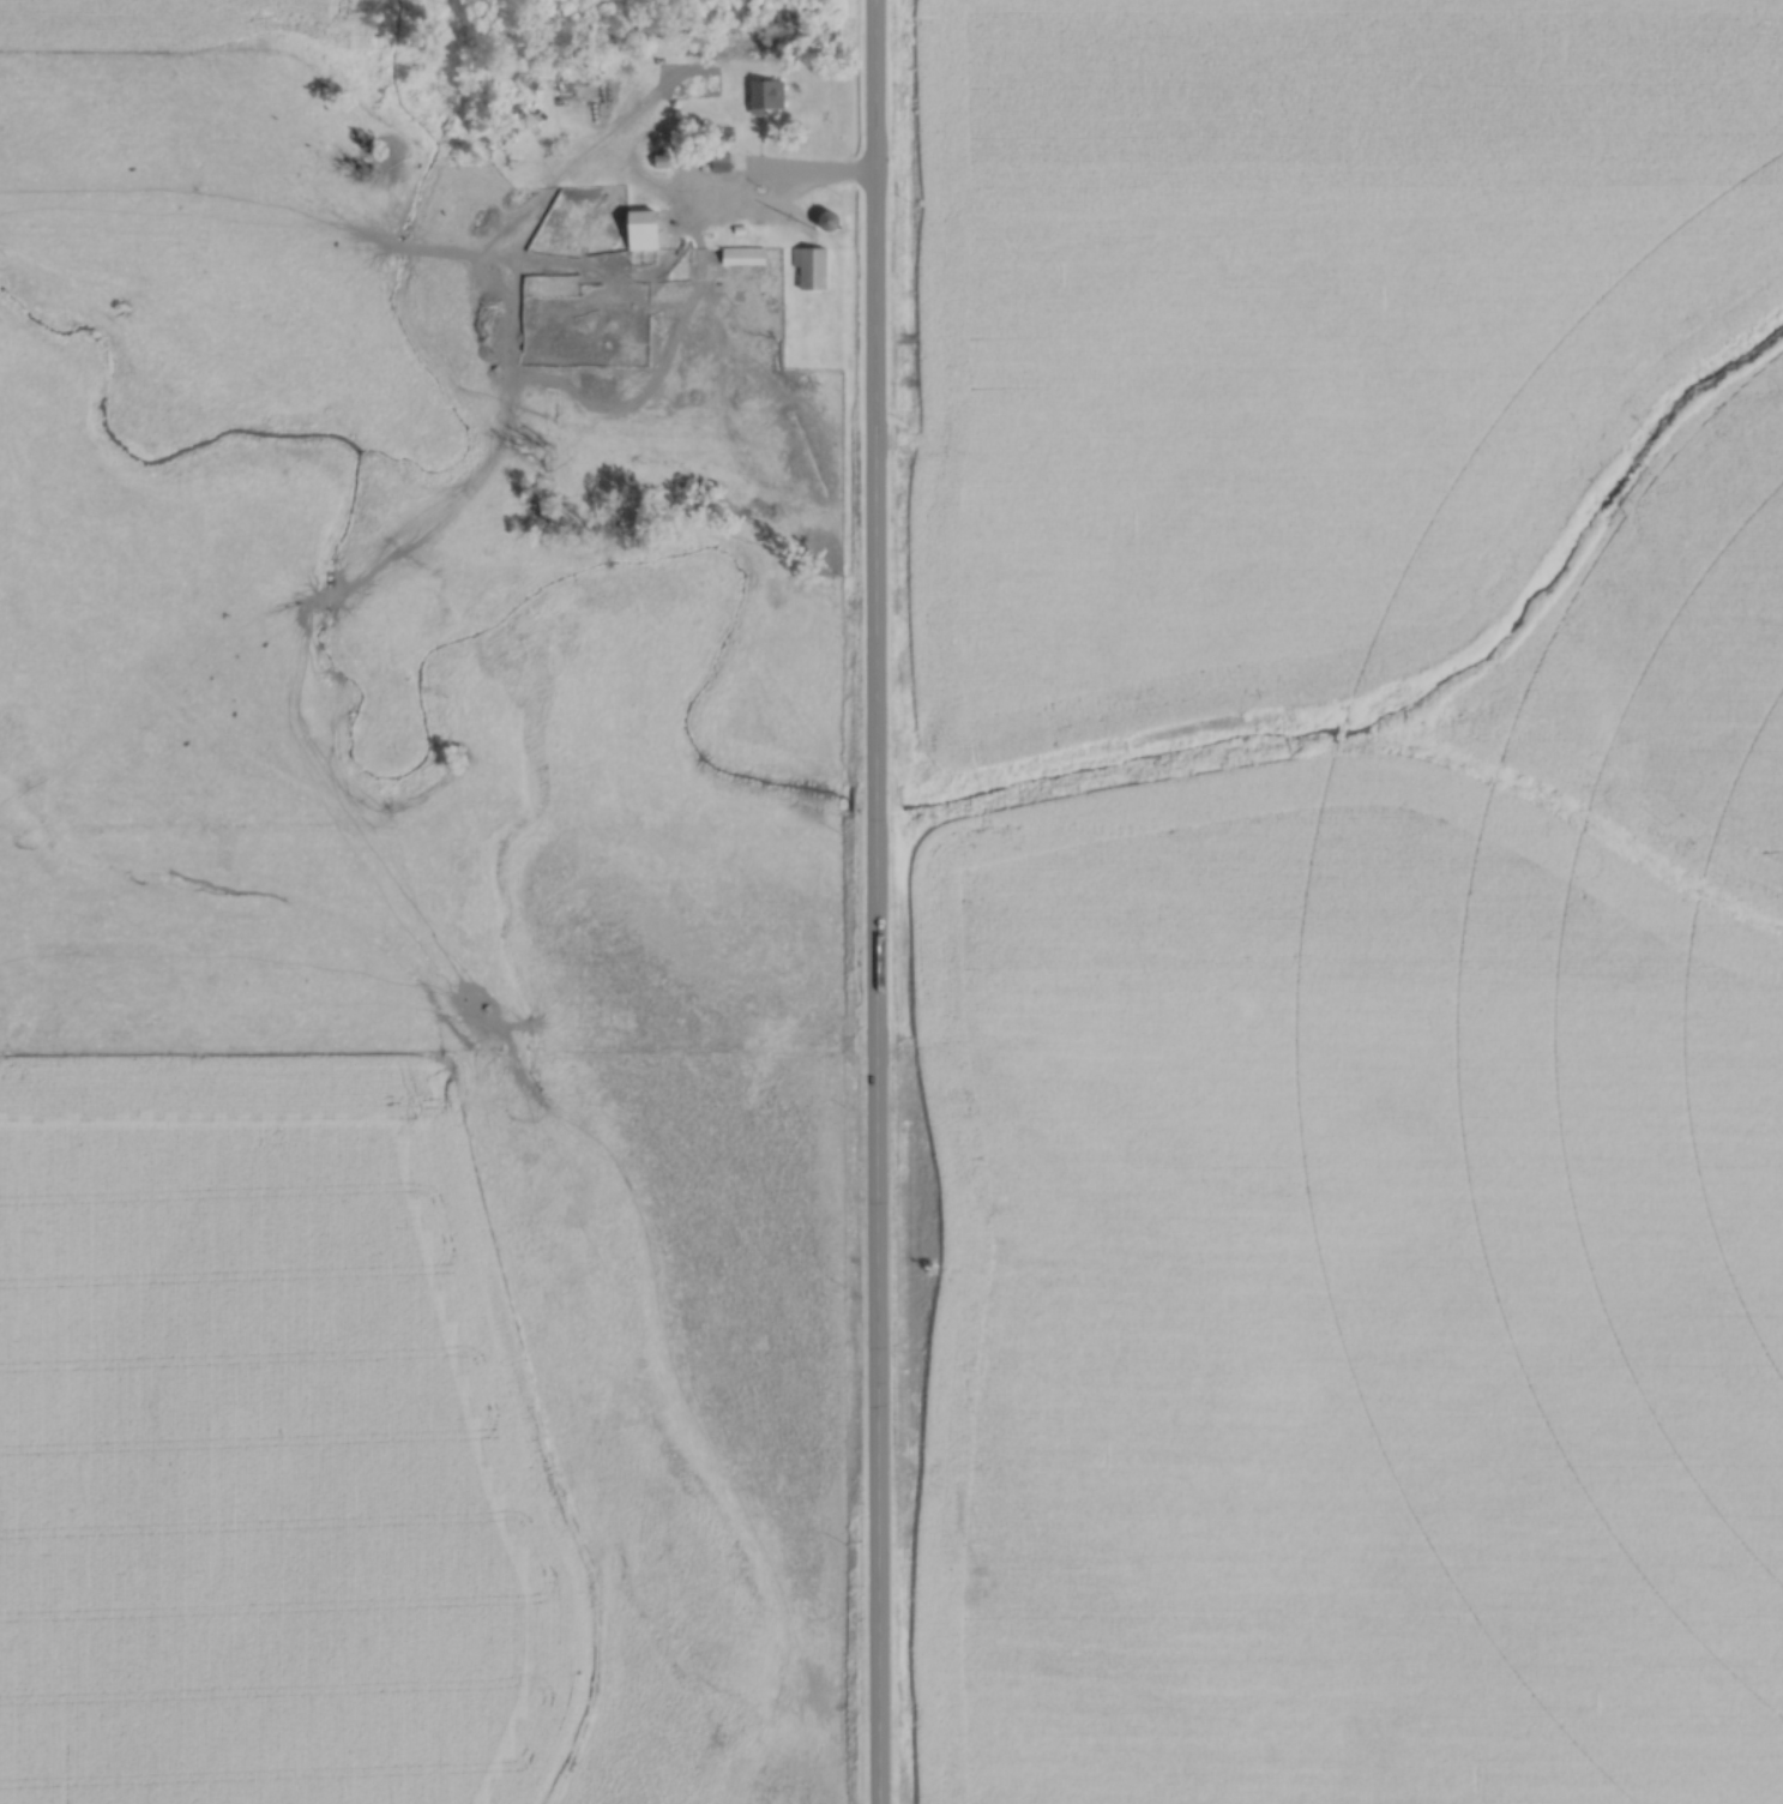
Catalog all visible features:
building: (767, 96)
road: (787, 196)
building: (646, 233)
road: (875, 901)

